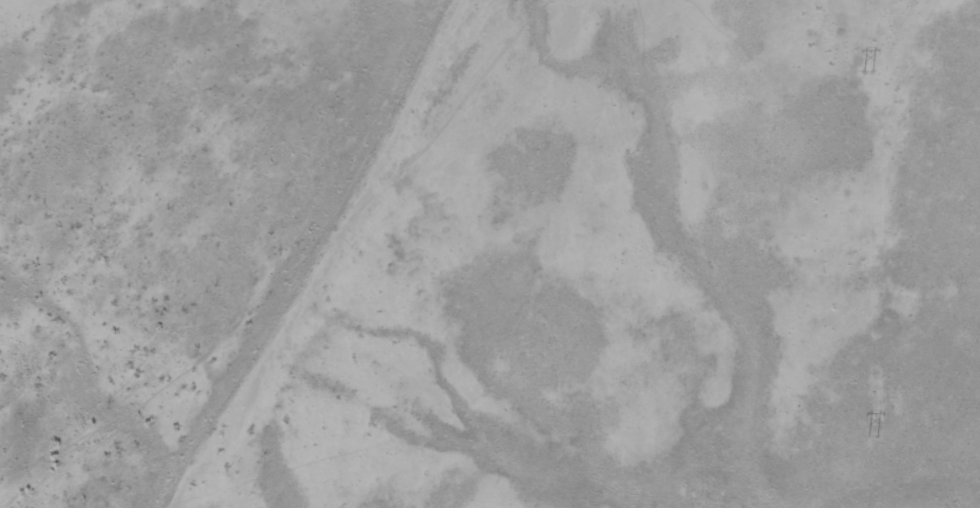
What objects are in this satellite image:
power tower: (868, 70)
power tower: (873, 437)

